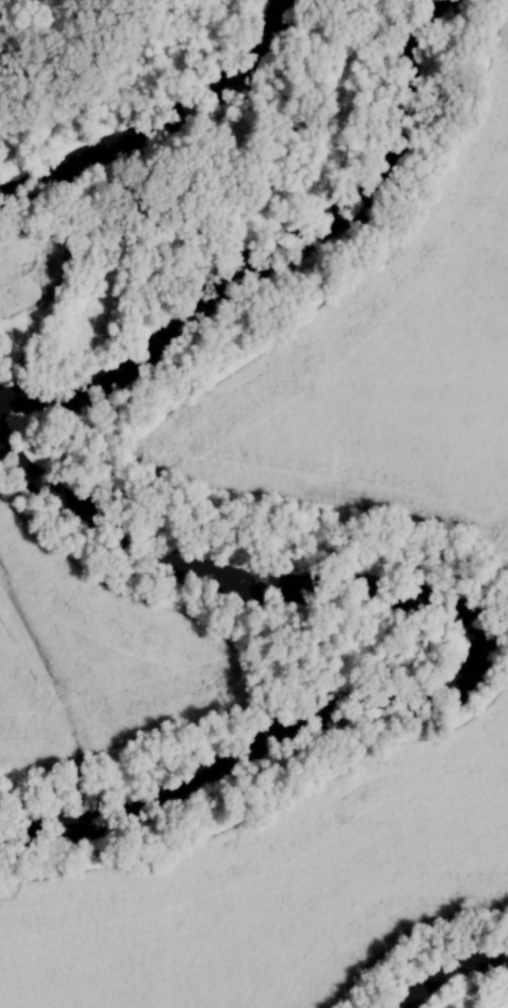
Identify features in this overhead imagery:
river: (171, 124)
river: (287, 262)
river: (483, 641)
river: (449, 970)

